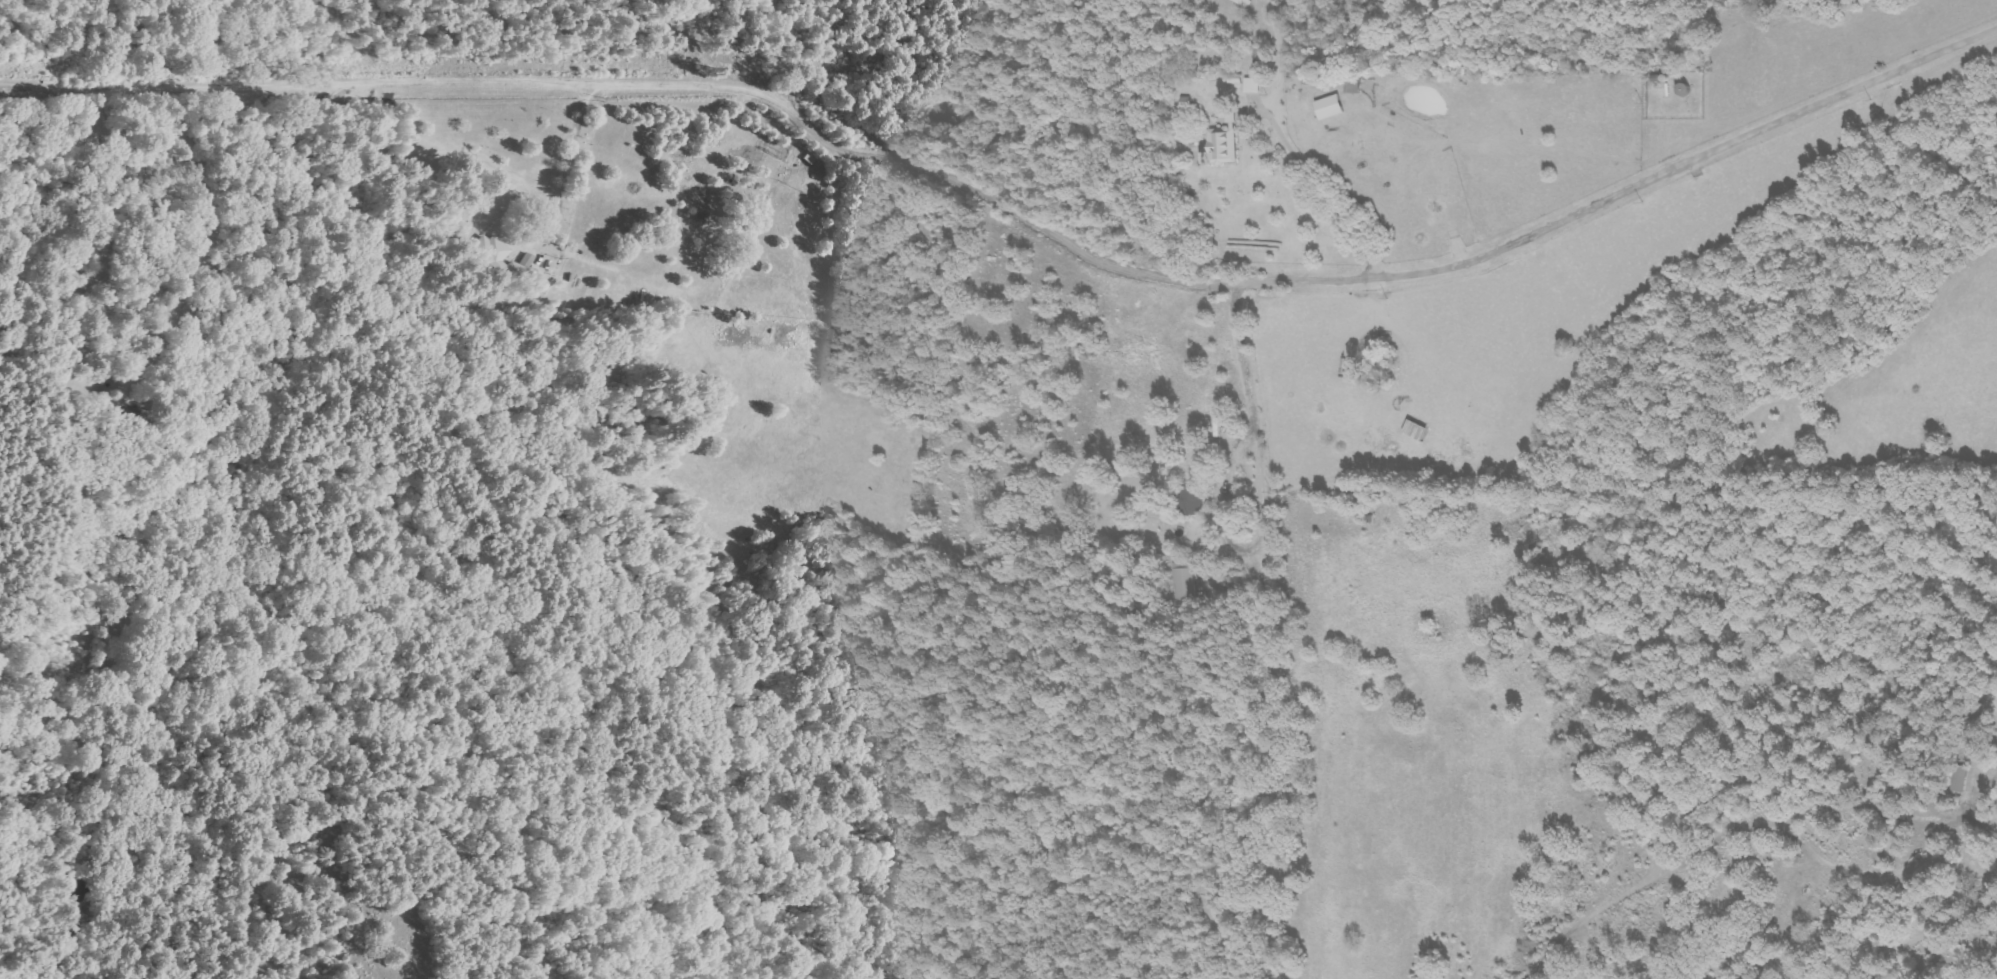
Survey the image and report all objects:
building: (1255, 85)
building: (1325, 107)
road: (1013, 216)
building: (504, 261)
building: (1189, 500)
building: (1181, 579)
building: (1957, 780)

